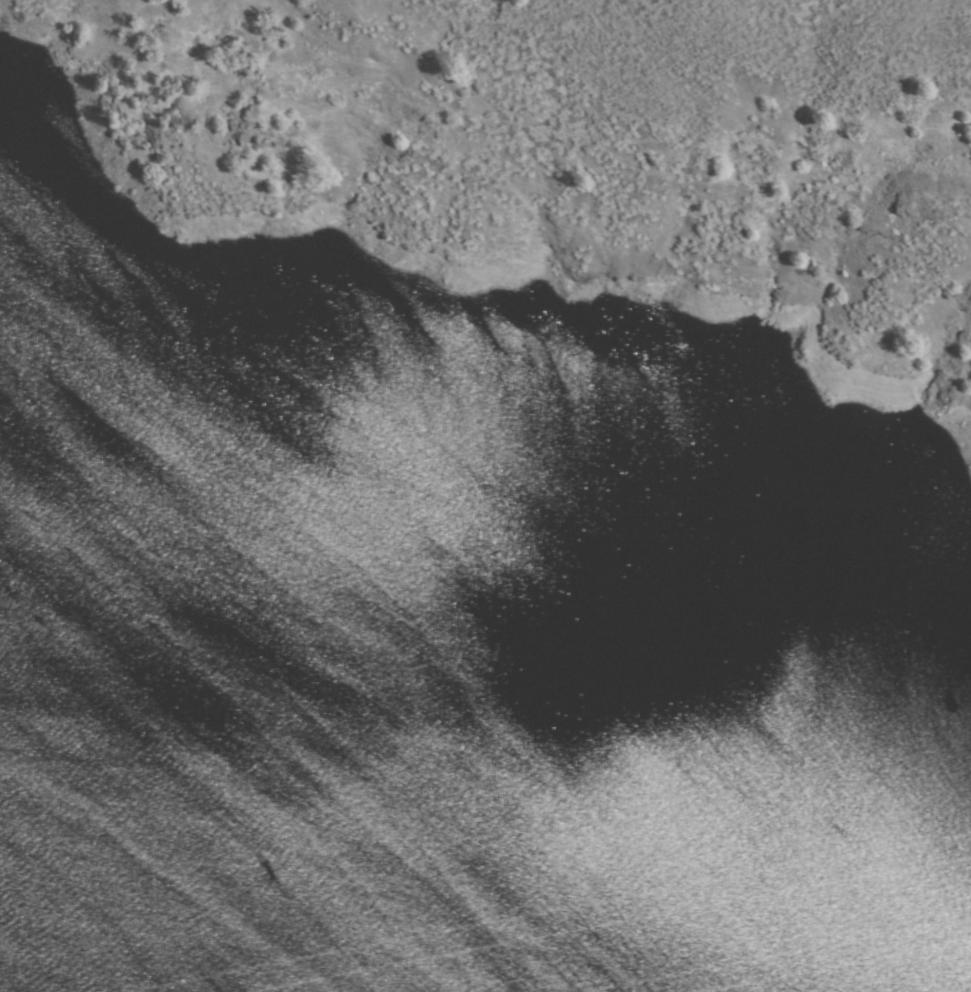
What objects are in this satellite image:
river: (257, 730)

